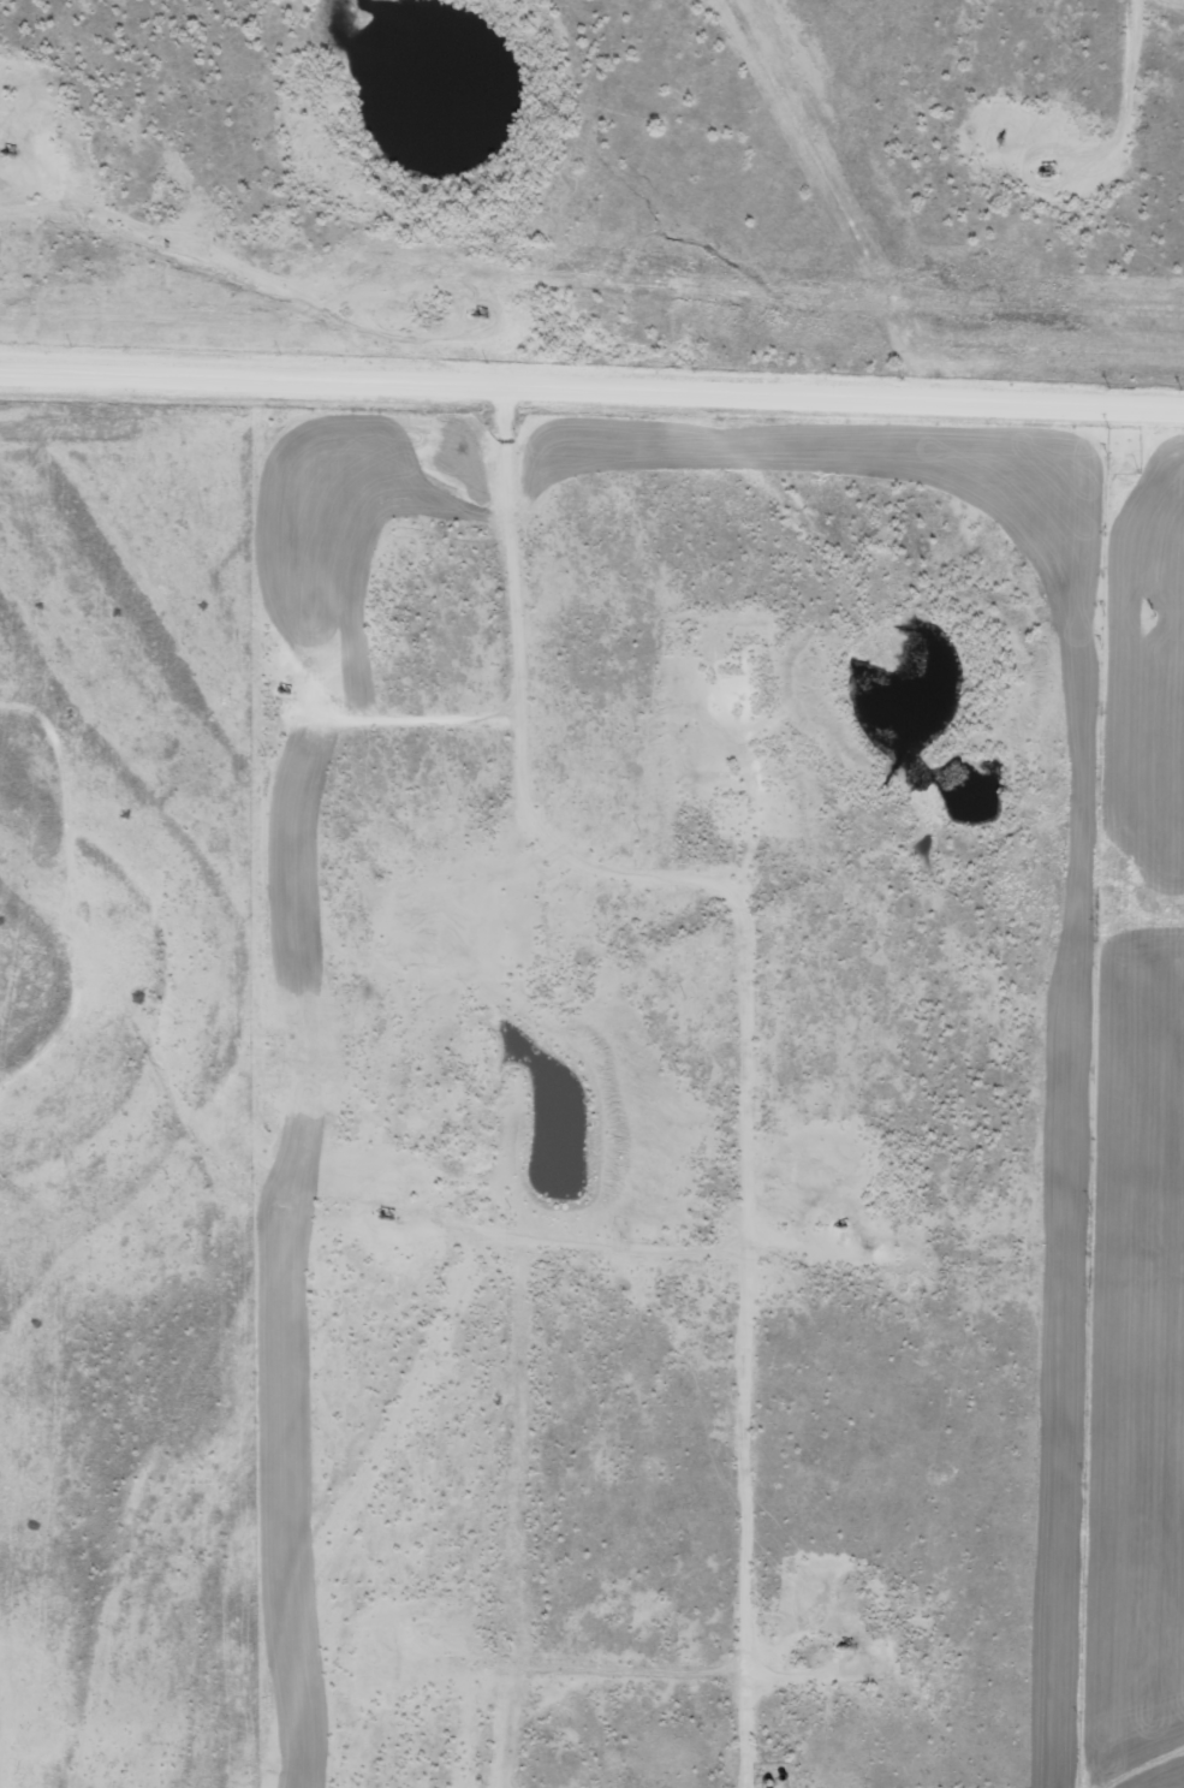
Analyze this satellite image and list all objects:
road: (1107, 55)
road: (144, 281)
road: (591, 424)
road: (498, 659)
road: (78, 899)
road: (450, 922)
road: (962, 1282)
road: (745, 1546)

